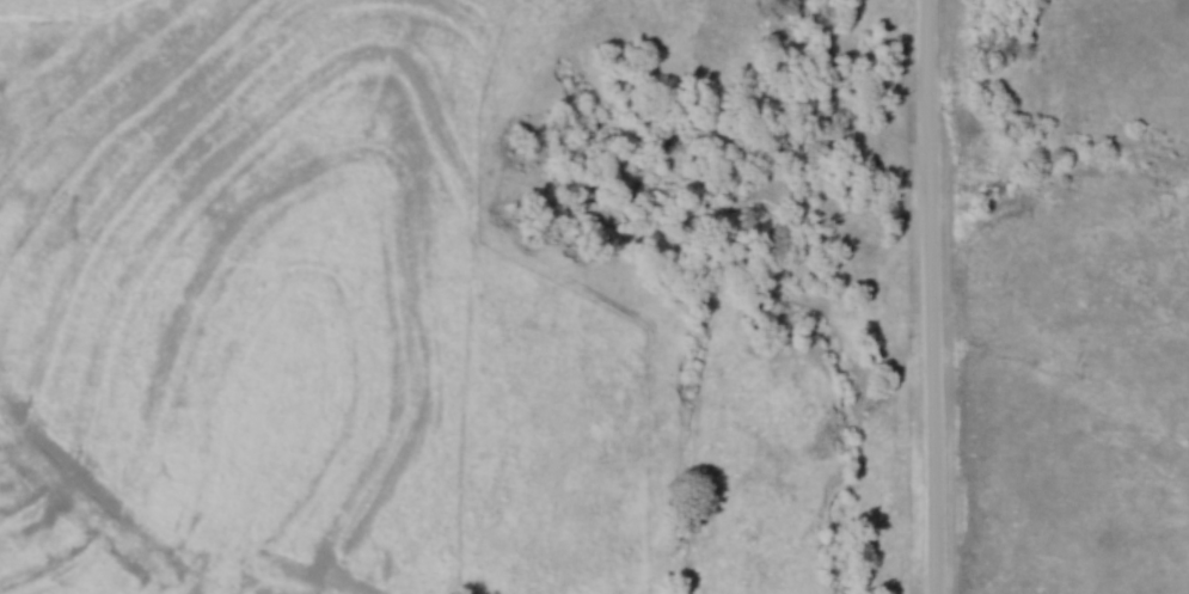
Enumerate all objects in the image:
road: (931, 296)

